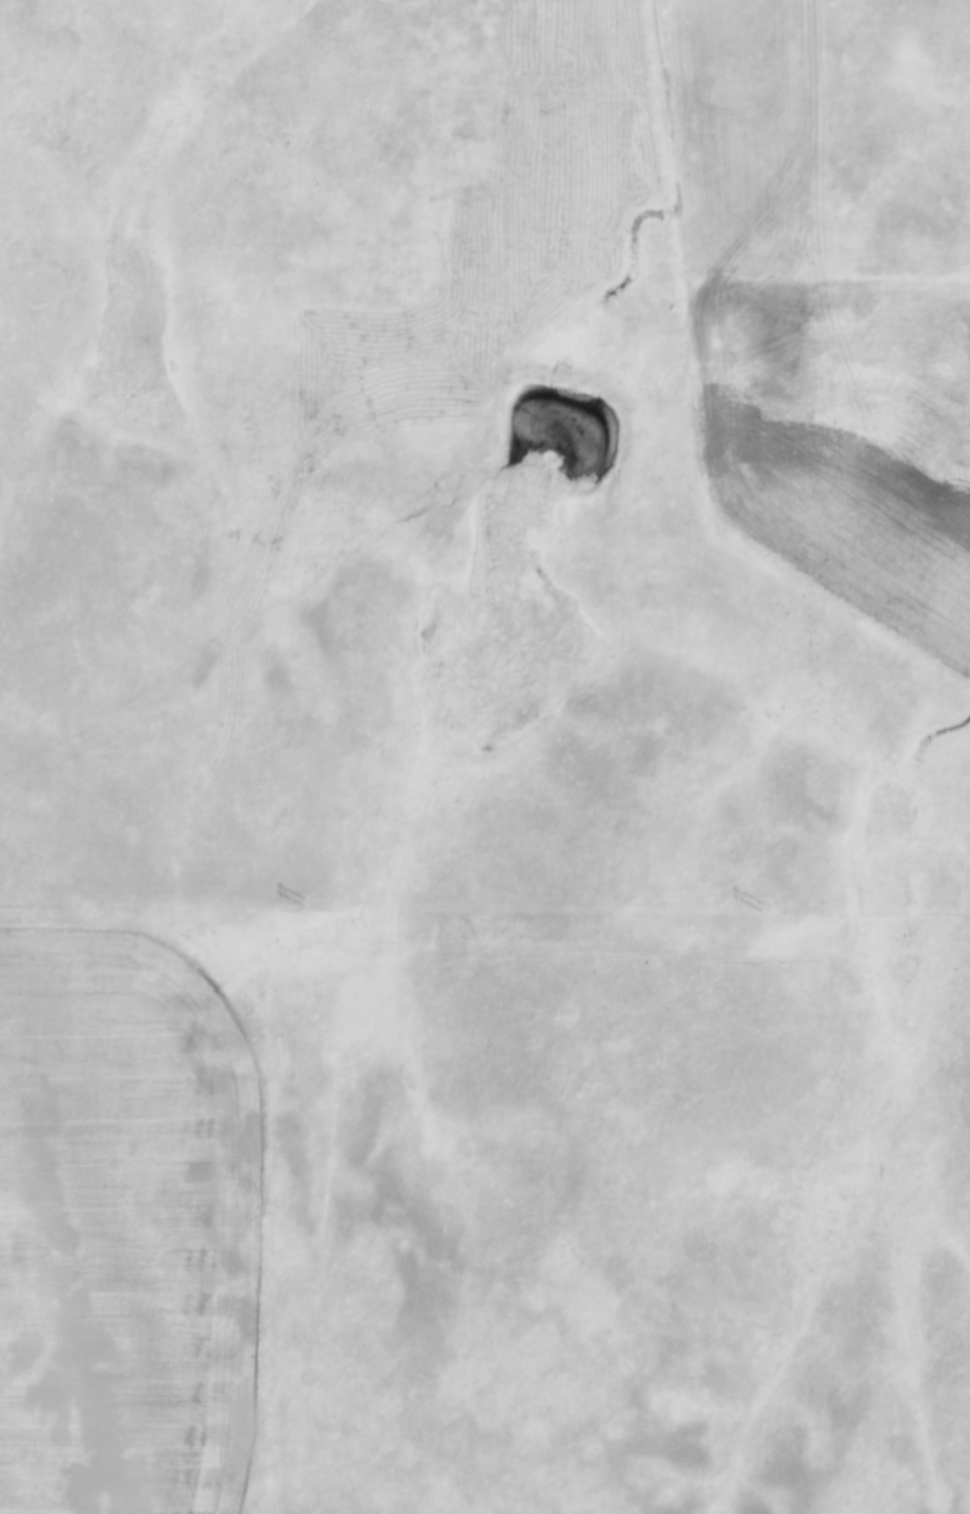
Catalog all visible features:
road: (697, 410)

